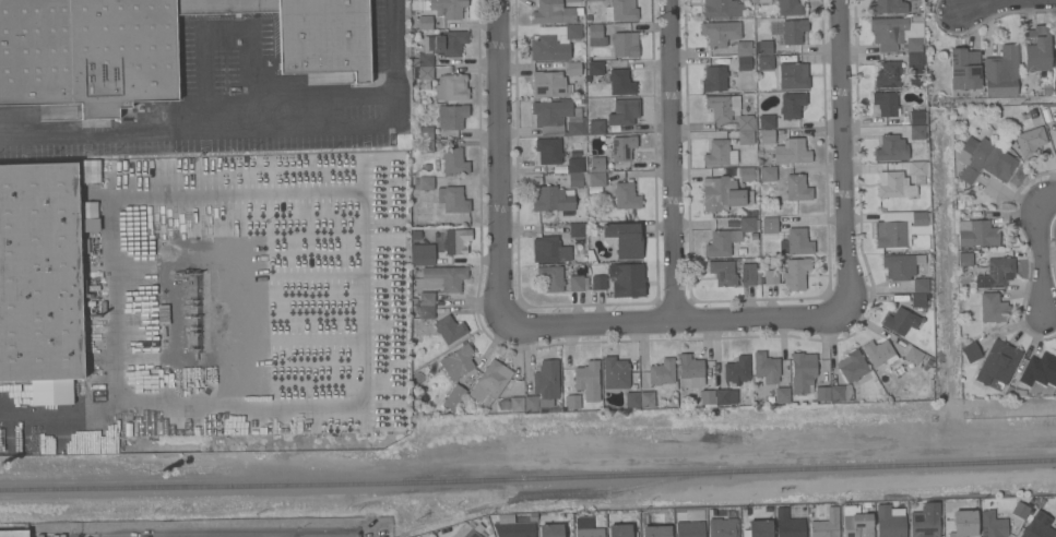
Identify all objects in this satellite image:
building: (572, 0)
building: (592, 0)
road: (969, 4)
building: (886, 5)
building: (225, 7)
building: (786, 7)
building: (721, 8)
building: (452, 9)
building: (620, 10)
building: (554, 12)
building: (426, 22)
road: (229, 28)
building: (794, 31)
building: (720, 32)
building: (897, 33)
building: (596, 35)
building: (324, 37)
building: (1055, 40)
building: (554, 41)
building: (450, 43)
building: (625, 44)
building: (744, 47)
building: (764, 47)
building: (1036, 47)
building: (87, 53)
building: (420, 57)
building: (914, 61)
building: (766, 62)
building: (746, 64)
building: (573, 68)
building: (595, 68)
building: (964, 68)
building: (1002, 71)
building: (425, 72)
building: (889, 74)
building: (795, 75)
building: (714, 79)
building: (620, 82)
building: (550, 84)
building: (451, 87)
road: (1024, 100)
building: (886, 103)
building: (792, 105)
building: (723, 106)
building: (624, 111)
building: (451, 116)
building: (916, 117)
building: (558, 118)
building: (746, 121)
building: (767, 121)
building: (600, 126)
road: (253, 129)
building: (425, 131)
building: (917, 132)
building: (767, 135)
building: (1055, 140)
building: (1030, 141)
building: (426, 144)
building: (618, 146)
building: (727, 146)
building: (891, 148)
building: (548, 150)
building: (792, 152)
road: (842, 156)
road: (498, 158)
road: (671, 158)
building: (984, 159)
building: (454, 160)
building: (597, 164)
building: (577, 165)
building: (918, 167)
building: (90, 172)
building: (768, 172)
building: (746, 174)
building: (577, 178)
building: (597, 179)
building: (423, 182)
building: (894, 184)
building: (795, 188)
building: (722, 191)
building: (626, 195)
road: (1049, 196)
building: (452, 199)
building: (554, 199)
building: (748, 223)
building: (769, 223)
building: (899, 227)
building: (577, 229)
building: (978, 234)
building: (625, 239)
building: (456, 240)
building: (796, 241)
building: (720, 242)
building: (550, 250)
building: (423, 258)
road: (1044, 263)
building: (901, 265)
building: (999, 271)
building: (39, 272)
building: (723, 272)
building: (796, 273)
building: (750, 274)
building: (625, 275)
building: (447, 276)
building: (771, 276)
building: (550, 277)
building: (598, 278)
building: (578, 283)
building: (921, 284)
building: (427, 298)
building: (917, 299)
road: (114, 302)
building: (993, 308)
building: (426, 311)
road: (672, 318)
building: (900, 320)
building: (450, 329)
building: (971, 351)
building: (879, 353)
road: (370, 356)
building: (912, 356)
building: (458, 361)
building: (998, 362)
building: (764, 365)
building: (853, 367)
building: (737, 369)
building: (662, 371)
building: (803, 371)
building: (615, 372)
building: (1037, 375)
building: (588, 380)
building: (703, 381)
building: (488, 382)
building: (544, 385)
building: (822, 393)
building: (840, 393)
building: (782, 394)
building: (454, 396)
building: (646, 398)
building: (632, 399)
building: (573, 401)
building: (517, 403)
railway: (527, 479)
railway: (498, 502)
building: (1020, 510)
building: (668, 520)
building: (926, 521)
building: (856, 522)
building: (889, 522)
building: (964, 523)
building: (994, 523)
building: (788, 524)
building: (826, 525)
building: (519, 526)
building: (689, 526)
building: (1039, 526)
building: (723, 527)
building: (758, 528)
building: (586, 529)
building: (464, 530)
building: (550, 530)
building: (620, 530)
building: (14, 533)
road: (218, 533)
railway: (389, 534)
road: (347, 535)

